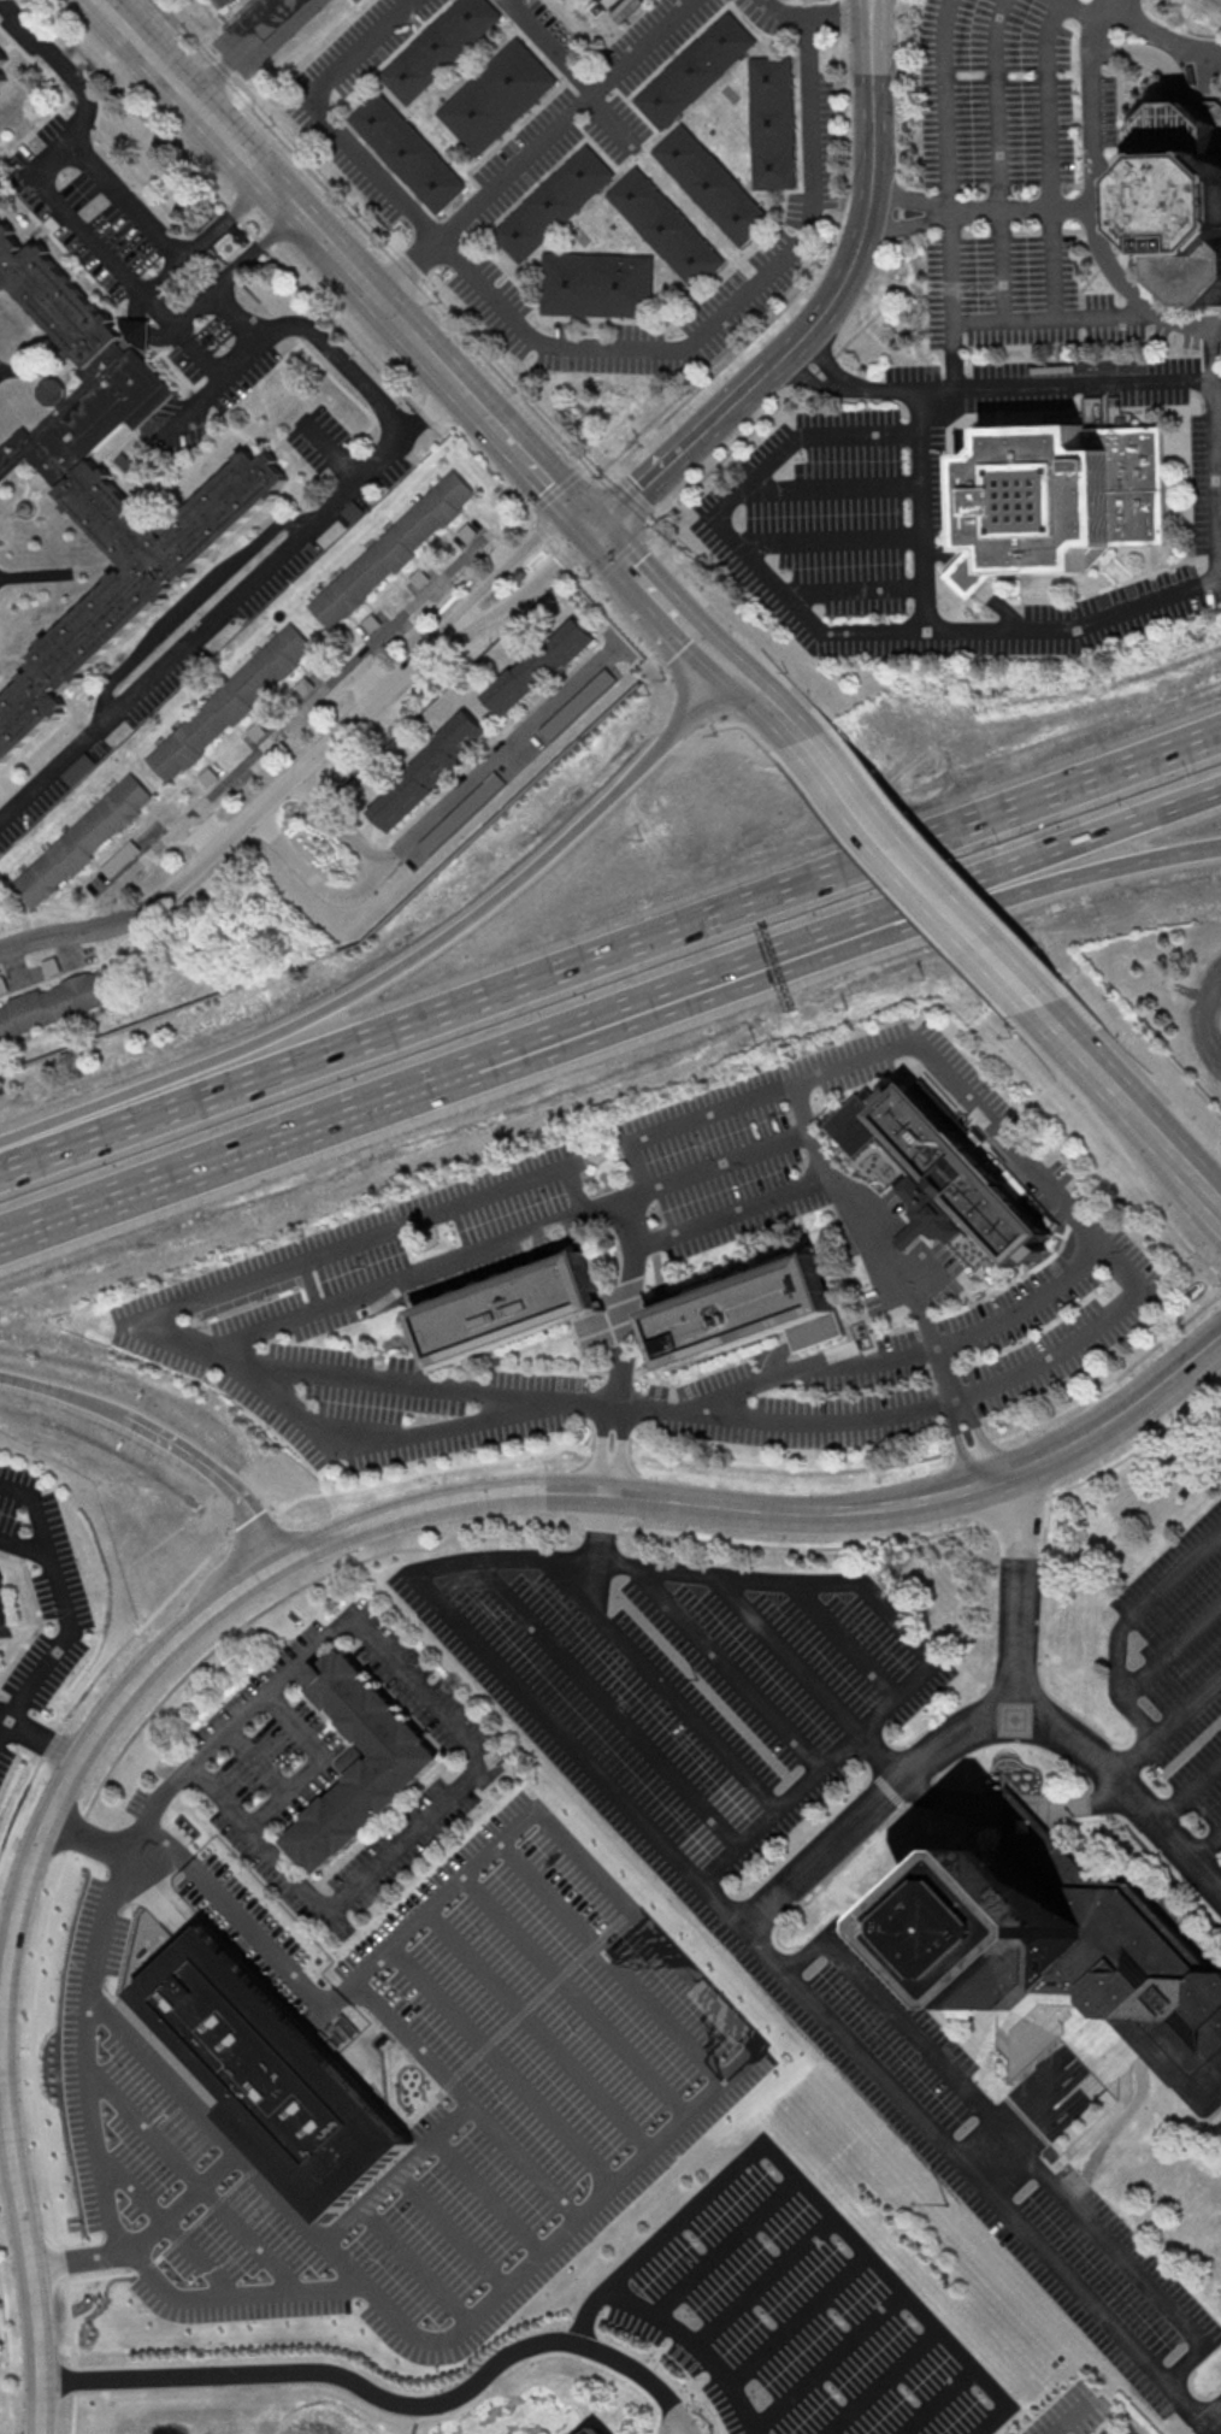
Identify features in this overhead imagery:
road: (1126, 2)
building: (228, 4)
road: (1110, 4)
road: (1120, 6)
road: (1075, 8)
road: (785, 11)
road: (1104, 14)
road: (837, 17)
road: (843, 18)
road: (1170, 35)
road: (877, 36)
road: (868, 37)
road: (42, 45)
road: (238, 46)
building: (441, 49)
road: (573, 66)
building: (1, 70)
road: (42, 70)
building: (692, 71)
building: (496, 99)
road: (325, 119)
building: (773, 125)
road: (34, 128)
building: (409, 155)
road: (1050, 157)
road: (998, 158)
road: (263, 171)
building: (715, 187)
road: (902, 195)
road: (126, 196)
building: (1193, 199)
building: (553, 205)
road: (1008, 208)
road: (232, 211)
road: (943, 212)
road: (901, 226)
building: (666, 231)
road: (207, 235)
road: (94, 238)
road: (236, 267)
road: (228, 270)
road: (408, 273)
building: (596, 285)
road: (1131, 293)
road: (108, 296)
road: (951, 301)
road: (884, 308)
road: (1052, 317)
building: (135, 332)
road: (803, 338)
road: (264, 341)
road: (555, 343)
road: (824, 352)
road: (1210, 353)
road: (442, 364)
road: (802, 375)
road: (255, 387)
road: (558, 436)
road: (515, 442)
road: (617, 471)
building: (106, 483)
road: (833, 487)
road: (560, 488)
road: (636, 493)
building: (1062, 501)
road: (579, 511)
road: (531, 514)
traffic signals: (586, 519)
road: (650, 519)
road: (590, 523)
road: (922, 534)
road: (831, 541)
road: (554, 542)
building: (393, 549)
road: (621, 550)
road: (618, 553)
road: (254, 580)
road: (594, 584)
road: (855, 590)
road: (182, 594)
road: (427, 597)
road: (671, 608)
road: (470, 617)
road: (619, 623)
road: (1090, 625)
road: (713, 654)
building: (537, 666)
traffic signals: (729, 671)
building: (230, 702)
road: (760, 705)
road: (495, 762)
building: (427, 771)
road: (232, 784)
building: (462, 812)
road: (252, 818)
road: (205, 836)
building: (82, 841)
road: (916, 873)
road: (365, 885)
road: (830, 929)
road: (610, 951)
road: (830, 955)
road: (400, 961)
building: (55, 1006)
building: (1220, 1021)
road: (1085, 1055)
building: (878, 1097)
road: (686, 1122)
road: (1145, 1122)
road: (222, 1157)
road: (1180, 1161)
building: (944, 1174)
road: (1048, 1178)
road: (1210, 1192)
road: (732, 1208)
road: (865, 1219)
road: (1199, 1253)
road: (306, 1261)
road: (391, 1280)
building: (508, 1309)
building: (749, 1313)
road: (924, 1350)
road: (391, 1379)
road: (63, 1393)
road: (790, 1408)
road: (545, 1452)
road: (217, 1473)
road: (769, 1513)
road: (602, 1528)
road: (24, 1545)
road: (881, 1603)
building: (4, 1614)
road: (772, 1634)
road: (64, 1637)
road: (843, 1638)
road: (1119, 1648)
road: (1172, 1651)
road: (727, 1669)
road: (663, 1689)
road: (606, 1702)
road: (1186, 1702)
road: (1042, 1711)
road: (4, 1720)
road: (4, 1729)
road: (319, 1766)
road: (1190, 1791)
building: (361, 1798)
road: (958, 1801)
road: (1085, 1802)
road: (1021, 1807)
road: (779, 1808)
road: (880, 1810)
road: (554, 1829)
road: (412, 1831)
road: (1208, 1846)
building: (1004, 1928)
road: (744, 1938)
road: (12, 1945)
road: (614, 1961)
building: (1128, 1962)
road: (576, 1998)
road: (541, 2032)
road: (916, 2039)
road: (1, 2047)
road: (503, 2068)
building: (270, 2073)
road: (466, 2103)
road: (2, 2111)
road: (224, 2135)
road: (394, 2173)
road: (193, 2179)
road: (806, 2188)
road: (489, 2194)
road: (184, 2203)
road: (166, 2226)
road: (450, 2230)
road: (724, 2245)
road: (1126, 2263)
road: (413, 2264)
road: (765, 2280)
road: (797, 2320)
road: (695, 2342)
road: (826, 2357)
road: (5, 2365)
road: (320, 2370)
road: (639, 2376)
road: (879, 2381)
road: (73, 2391)
road: (937, 2400)
road: (1211, 2414)
road: (1070, 2418)
road: (668, 2422)
building: (596, 2430)

